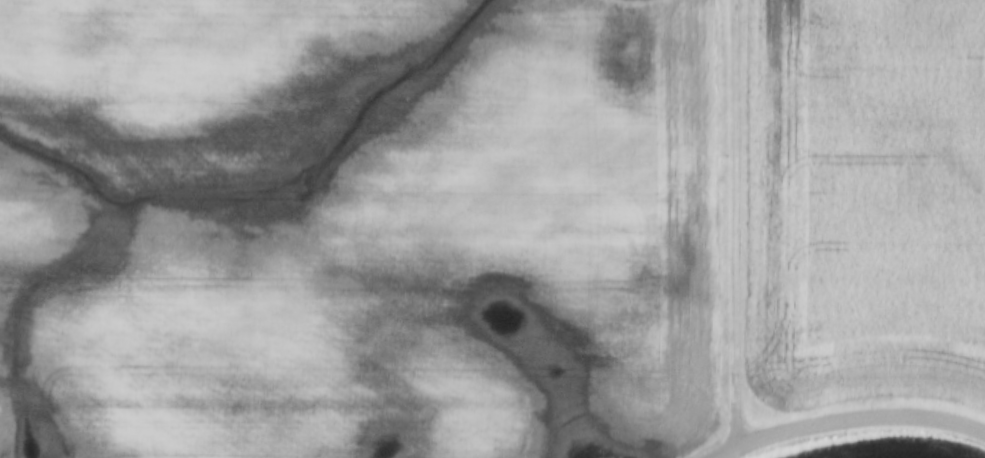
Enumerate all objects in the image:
road: (783, 218)
road: (860, 423)

